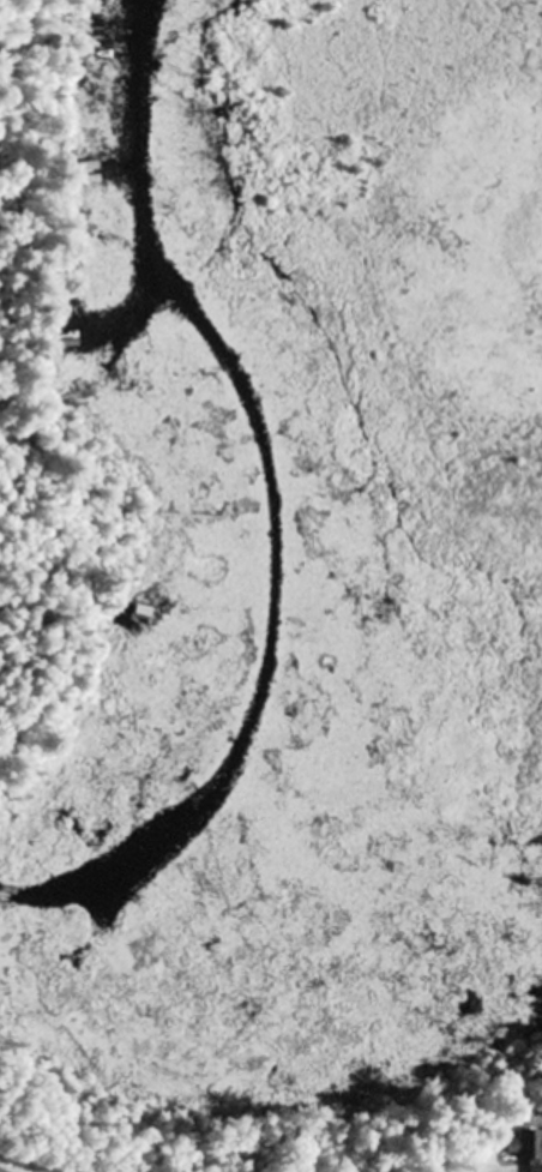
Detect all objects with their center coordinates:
building: (519, 1146)
building: (531, 1168)

